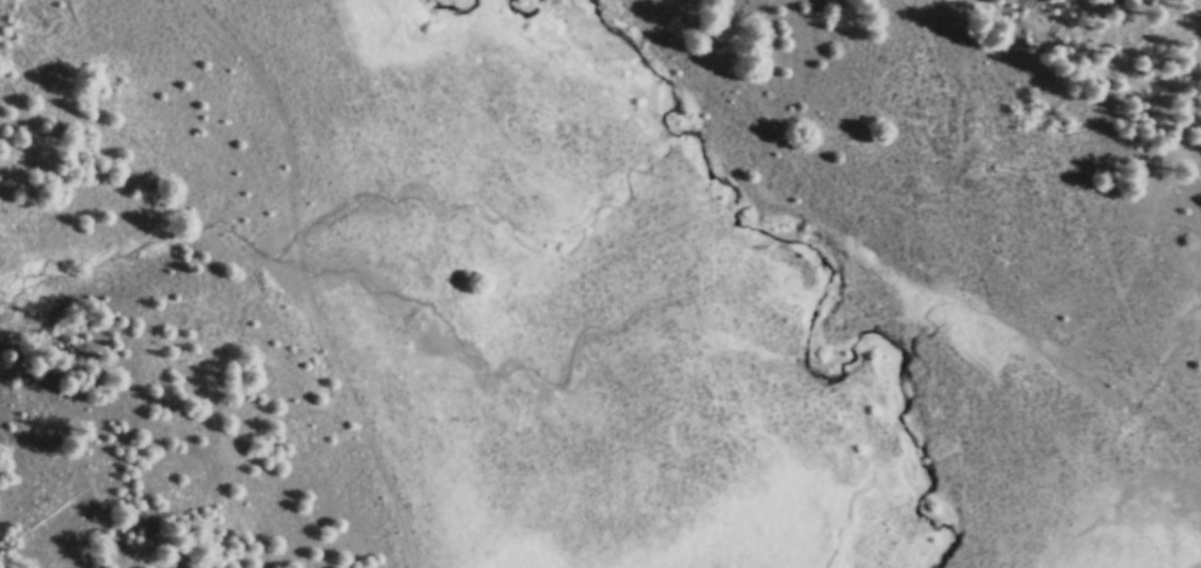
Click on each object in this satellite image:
road: (264, 278)

